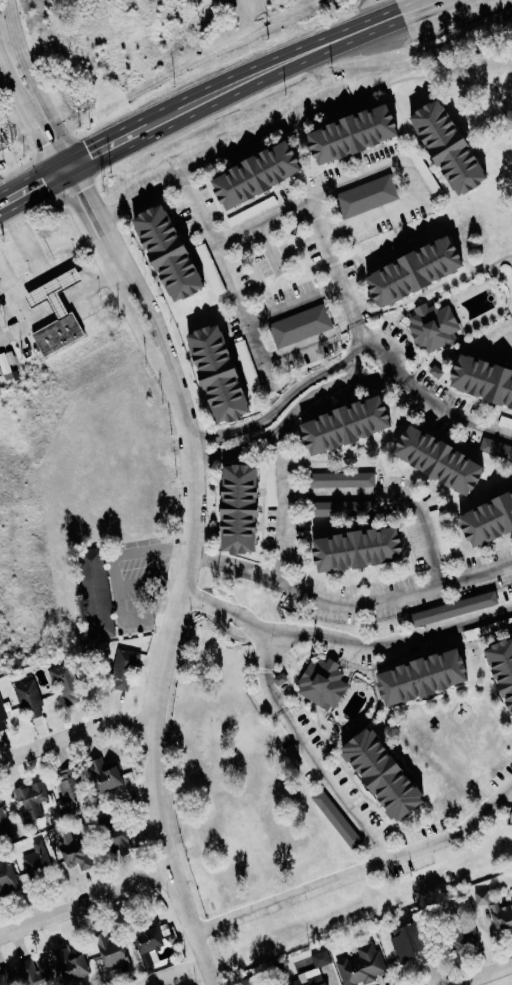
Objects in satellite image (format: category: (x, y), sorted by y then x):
road: (451, 1)
road: (44, 85)
road: (30, 97)
road: (220, 101)
building: (362, 134)
road: (257, 137)
building: (457, 147)
road: (402, 166)
building: (266, 175)
building: (370, 196)
road: (196, 209)
road: (314, 220)
road: (27, 243)
building: (177, 253)
road: (72, 262)
road: (130, 264)
building: (425, 271)
road: (111, 274)
road: (299, 303)
road: (21, 309)
building: (67, 313)
building: (304, 326)
building: (437, 327)
road: (297, 347)
road: (378, 356)
building: (10, 364)
building: (440, 371)
building: (227, 374)
road: (373, 374)
building: (486, 379)
road: (273, 409)
road: (449, 412)
building: (356, 425)
road: (279, 426)
building: (498, 447)
building: (445, 459)
building: (345, 479)
building: (274, 486)
road: (392, 494)
building: (342, 509)
building: (248, 510)
building: (492, 523)
building: (440, 537)
building: (361, 551)
road: (126, 558)
road: (231, 563)
building: (95, 588)
road: (331, 600)
building: (453, 611)
road: (222, 613)
road: (389, 640)
building: (503, 667)
building: (124, 671)
road: (160, 678)
building: (425, 680)
building: (323, 684)
building: (66, 685)
building: (29, 699)
building: (3, 719)
road: (73, 736)
road: (310, 751)
building: (105, 776)
building: (385, 776)
building: (69, 785)
building: (30, 800)
building: (336, 820)
building: (6, 822)
building: (115, 837)
building: (79, 855)
building: (36, 860)
road: (358, 868)
building: (8, 880)
road: (84, 901)
building: (496, 911)
building: (148, 938)
building: (458, 938)
building: (411, 943)
building: (111, 949)
building: (71, 964)
building: (362, 966)
building: (36, 972)
road: (487, 976)
building: (4, 979)
building: (312, 980)
building: (249, 982)

